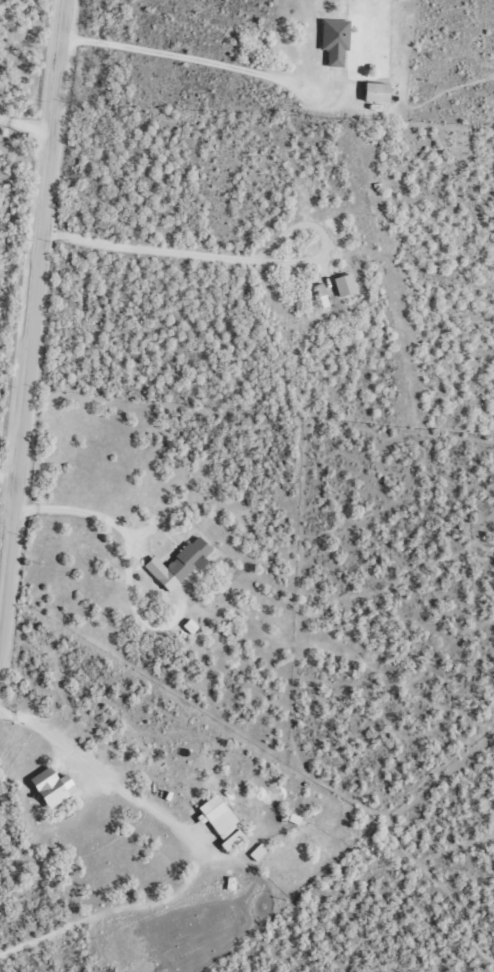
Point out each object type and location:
building: (336, 40)
building: (378, 93)
road: (31, 214)
building: (345, 285)
building: (323, 295)
building: (179, 565)
building: (191, 626)
building: (53, 787)
building: (222, 821)
building: (259, 852)

